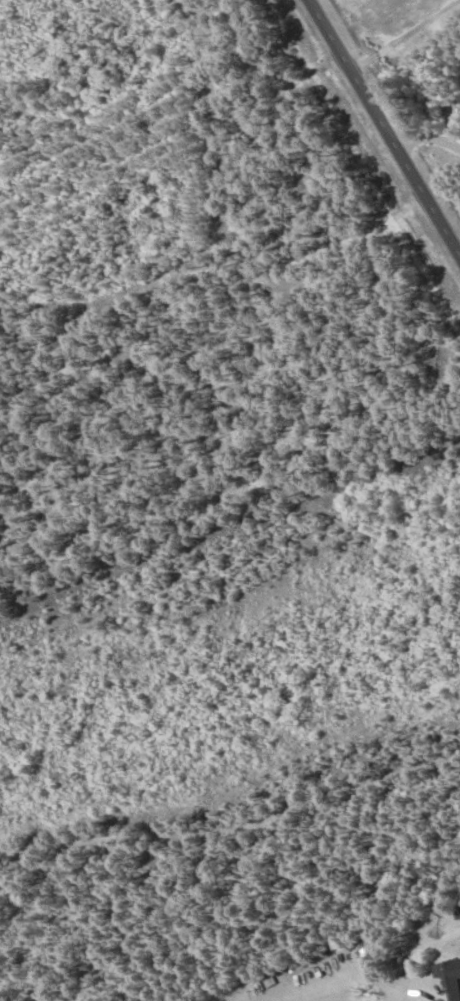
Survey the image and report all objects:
road: (383, 130)
road: (459, 256)
road: (234, 800)
building: (450, 978)

